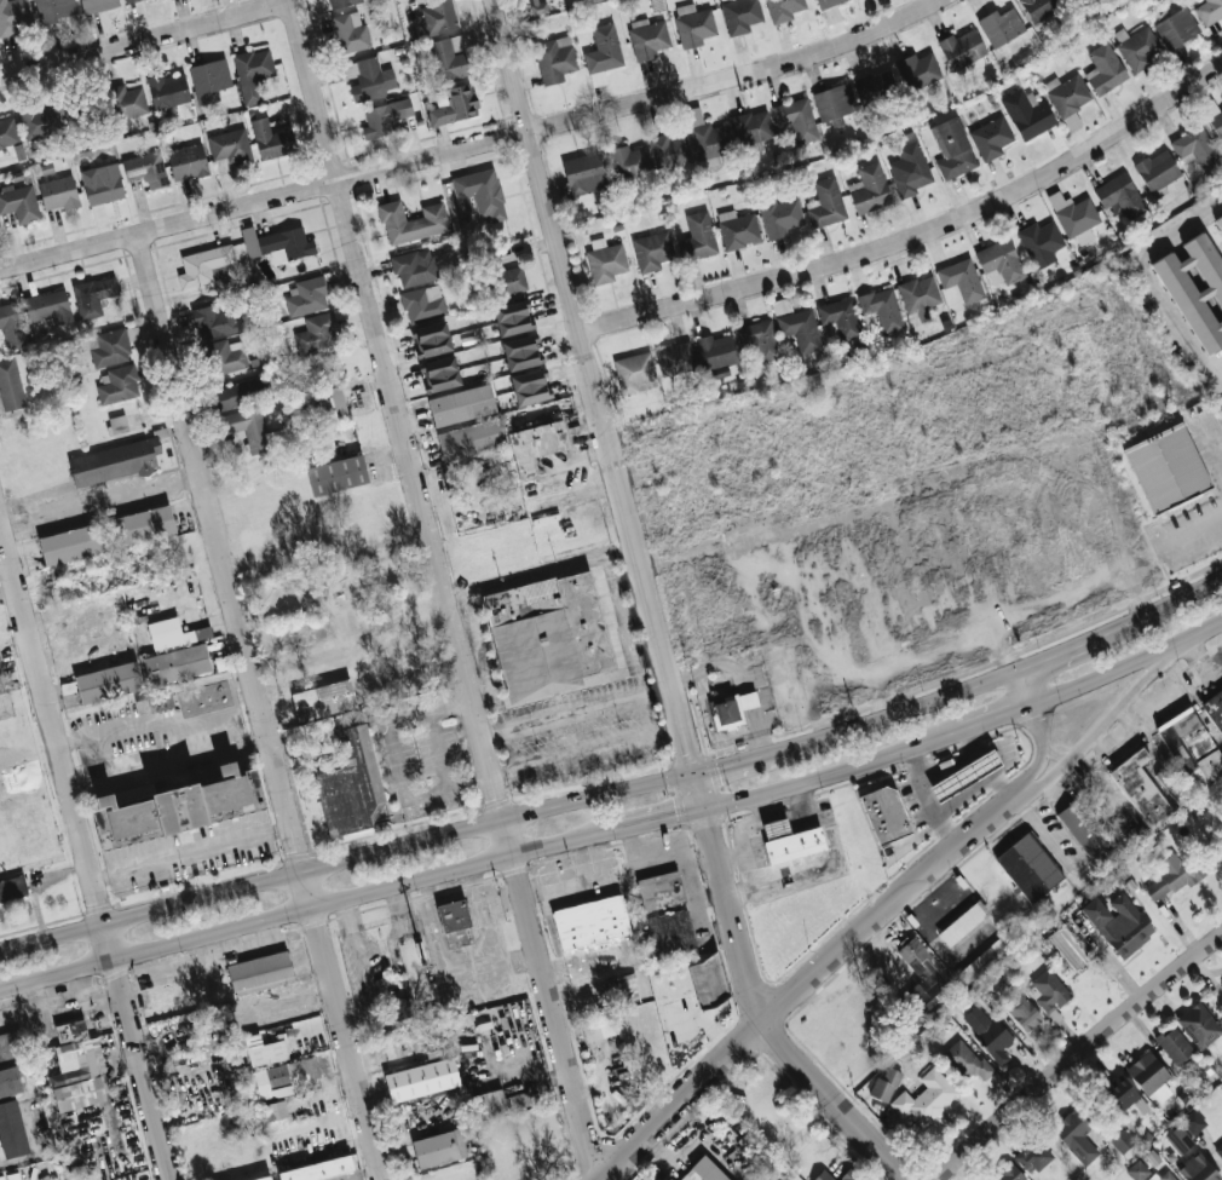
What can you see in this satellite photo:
building: (131, 1)
building: (341, 2)
building: (826, 4)
building: (97, 5)
building: (538, 6)
building: (1041, 7)
building: (783, 8)
building: (53, 10)
building: (1209, 11)
building: (740, 15)
building: (15, 16)
building: (438, 17)
building: (693, 24)
building: (1001, 25)
building: (1176, 28)
building: (350, 31)
building: (647, 38)
road: (145, 41)
building: (604, 48)
building: (961, 48)
building: (1139, 48)
building: (449, 57)
building: (554, 58)
building: (1105, 68)
building: (918, 69)
building: (252, 73)
building: (368, 77)
building: (209, 80)
building: (875, 86)
building: (168, 90)
building: (1068, 99)
building: (127, 103)
building: (835, 103)
building: (454, 105)
building: (1026, 113)
building: (385, 116)
building: (1214, 116)
building: (796, 119)
building: (40, 121)
building: (76, 121)
building: (751, 127)
building: (8, 131)
building: (707, 136)
building: (991, 137)
building: (272, 139)
building: (230, 145)
road: (473, 145)
building: (1194, 146)
building: (952, 148)
building: (669, 151)
building: (0, 155)
building: (629, 161)
building: (188, 162)
building: (145, 169)
building: (909, 169)
building: (1157, 169)
building: (583, 173)
building: (102, 183)
building: (869, 188)
building: (58, 192)
building: (479, 194)
building: (1120, 196)
building: (19, 202)
building: (826, 202)
building: (1073, 214)
building: (780, 217)
building: (411, 220)
building: (1220, 223)
building: (737, 229)
building: (698, 236)
road: (918, 236)
building: (277, 242)
building: (1041, 242)
building: (652, 251)
building: (605, 260)
building: (999, 261)
building: (204, 265)
building: (414, 266)
road: (1148, 275)
building: (505, 276)
building: (959, 280)
building: (1195, 289)
building: (93, 295)
building: (918, 295)
building: (422, 303)
building: (48, 306)
building: (882, 307)
building: (511, 317)
building: (840, 317)
building: (214, 321)
building: (12, 324)
building: (800, 328)
building: (317, 332)
building: (431, 338)
building: (759, 339)
building: (110, 347)
building: (520, 352)
building: (715, 355)
building: (226, 356)
building: (674, 358)
building: (440, 373)
building: (635, 373)
building: (10, 385)
building: (119, 385)
building: (529, 386)
building: (241, 393)
building: (332, 402)
building: (461, 404)
building: (247, 427)
road: (1214, 433)
building: (471, 438)
building: (535, 444)
building: (114, 461)
building: (1166, 467)
building: (336, 474)
road: (114, 501)
road: (628, 511)
building: (144, 525)
road: (1191, 534)
building: (73, 543)
road: (445, 589)
road: (886, 601)
road: (1162, 611)
road: (638, 614)
road: (622, 622)
building: (173, 633)
road: (1060, 655)
road: (1199, 657)
building: (177, 663)
road: (1126, 663)
road: (1207, 678)
building: (108, 681)
road: (1025, 689)
road: (1181, 692)
road: (1160, 693)
building: (322, 698)
building: (747, 700)
road: (260, 707)
building: (1214, 708)
road: (578, 712)
building: (724, 712)
road: (897, 714)
road: (1113, 715)
road: (995, 716)
road: (1036, 721)
traffic signals: (688, 743)
building: (1191, 748)
road: (440, 750)
road: (589, 752)
road: (1051, 752)
road: (398, 760)
road: (734, 761)
road: (949, 764)
road: (984, 765)
road: (1038, 765)
traffic signals: (719, 766)
road: (834, 773)
building: (964, 775)
building: (350, 785)
building: (1140, 788)
road: (964, 794)
road: (929, 796)
road: (757, 804)
building: (179, 807)
building: (884, 815)
traffic signals: (676, 816)
road: (755, 817)
road: (663, 818)
road: (500, 819)
building: (1084, 828)
traffic signals: (711, 831)
building: (789, 840)
road: (82, 851)
road: (662, 852)
road: (191, 853)
building: (1028, 867)
building: (1171, 876)
building: (12, 887)
building: (659, 890)
road: (694, 890)
road: (890, 903)
road: (310, 908)
road: (151, 910)
building: (454, 915)
building: (590, 922)
road: (708, 922)
building: (963, 922)
building: (1118, 923)
building: (670, 932)
building: (982, 960)
building: (260, 973)
building: (707, 978)
building: (921, 980)
building: (1048, 991)
road: (484, 992)
building: (399, 1008)
building: (1022, 1012)
building: (1198, 1025)
building: (599, 1026)
building: (70, 1030)
building: (987, 1031)
building: (1174, 1044)
building: (10, 1046)
building: (265, 1052)
road: (1074, 1052)
building: (974, 1064)
building: (79, 1075)
building: (1148, 1075)
building: (283, 1076)
building: (421, 1080)
building: (10, 1082)
building: (884, 1084)
building: (1122, 1094)
building: (926, 1096)
road: (682, 1100)
road: (832, 1100)
building: (500, 1103)
building: (275, 1110)
building: (1193, 1121)
building: (11, 1130)
building: (1076, 1135)
building: (1178, 1139)
building: (1122, 1140)
building: (437, 1149)
building: (1218, 1150)
road: (682, 1153)
building: (1033, 1155)
building: (1197, 1168)
building: (317, 1169)
building: (1137, 1169)
building: (703, 1170)
building: (1009, 1173)
building: (823, 1175)
building: (849, 1175)
building: (1166, 1175)
building: (261, 1178)

